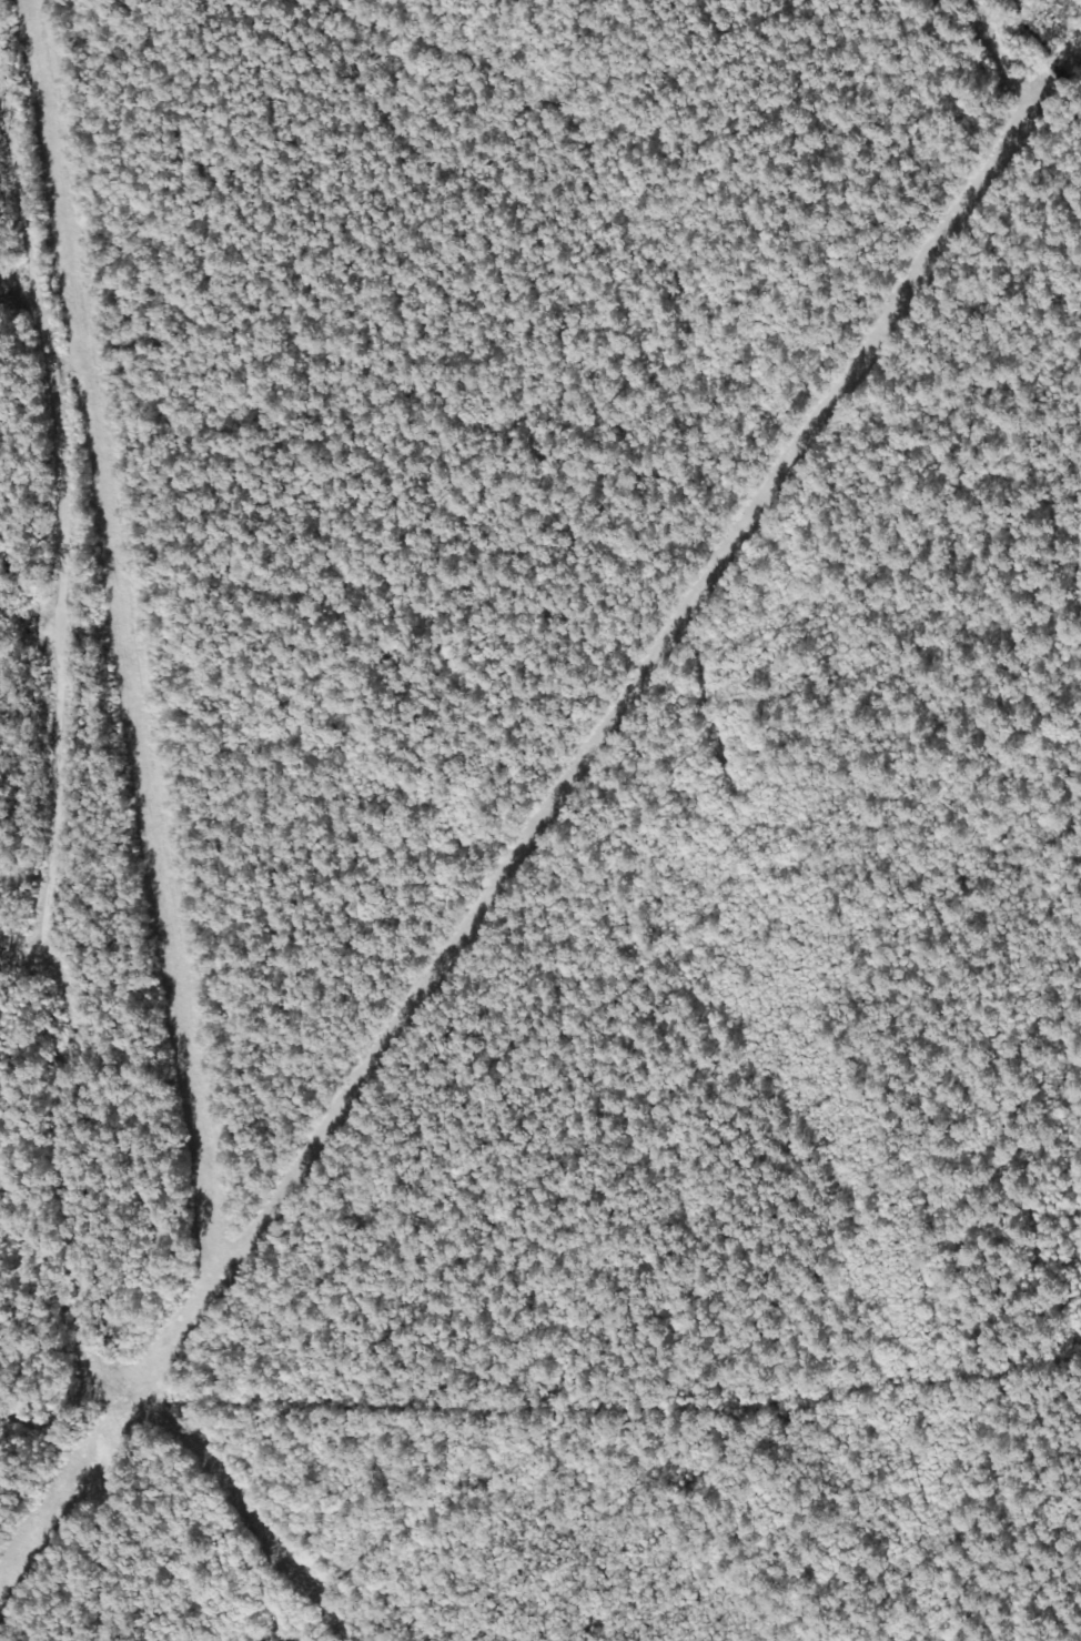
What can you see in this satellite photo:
road: (33, 840)
road: (579, 1370)

